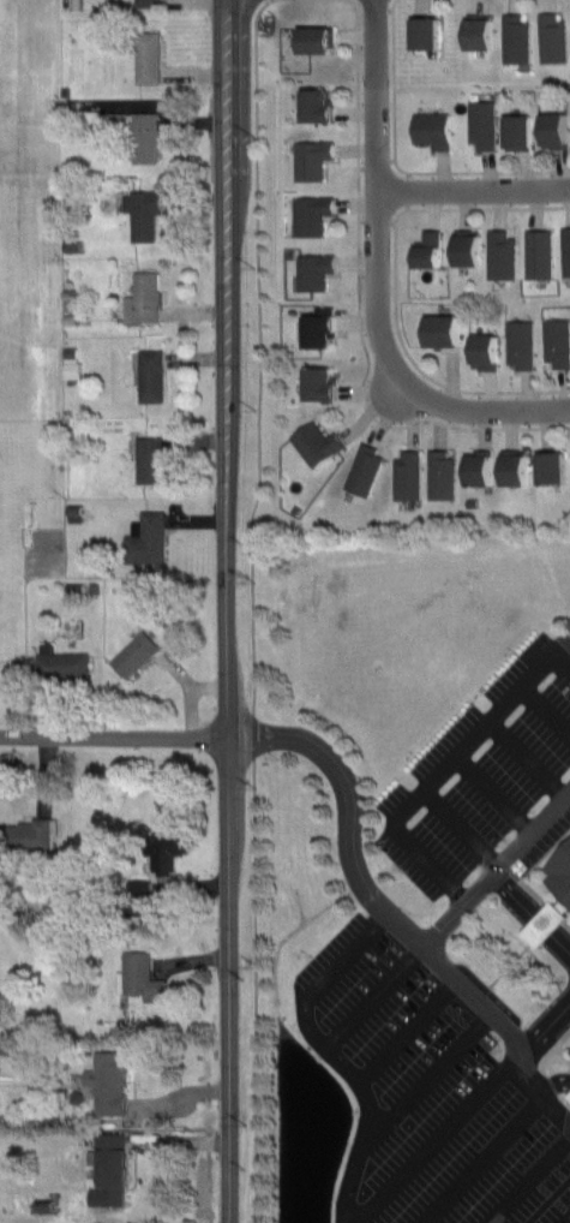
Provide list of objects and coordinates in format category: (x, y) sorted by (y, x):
building: (149, 2)
building: (421, 29)
building: (475, 29)
building: (550, 36)
building: (514, 37)
building: (312, 38)
building: (149, 56)
building: (312, 105)
building: (479, 123)
building: (428, 127)
building: (551, 127)
building: (515, 131)
building: (138, 132)
building: (311, 159)
road: (400, 168)
road: (377, 183)
road: (474, 185)
building: (144, 213)
building: (311, 214)
building: (425, 247)
building: (463, 247)
building: (563, 250)
building: (535, 252)
building: (498, 253)
building: (313, 268)
road: (395, 285)
building: (144, 298)
road: (358, 311)
building: (314, 329)
building: (440, 329)
building: (554, 340)
building: (518, 342)
building: (481, 351)
building: (71, 363)
building: (149, 374)
road: (259, 376)
building: (317, 383)
road: (473, 404)
building: (314, 443)
building: (148, 460)
building: (550, 467)
building: (514, 469)
building: (362, 470)
building: (475, 471)
building: (440, 473)
building: (407, 475)
building: (144, 537)
road: (227, 610)
building: (568, 625)
road: (566, 628)
building: (134, 654)
building: (61, 663)
road: (545, 711)
road: (114, 736)
road: (526, 758)
road: (443, 769)
parking lot: (487, 782)
road: (492, 794)
road: (460, 828)
road: (530, 830)
building: (26, 833)
building: (166, 843)
building: (562, 873)
road: (496, 877)
building: (137, 897)
road: (545, 901)
road: (377, 903)
building: (551, 921)
road: (350, 948)
building: (142, 977)
road: (253, 990)
road: (372, 997)
road: (547, 1021)
road: (408, 1033)
road: (553, 1044)
road: (562, 1052)
road: (432, 1073)
building: (103, 1084)
road: (360, 1092)
parking lot: (430, 1092)
road: (438, 1138)
road: (491, 1150)
building: (109, 1164)
road: (528, 1180)
road: (566, 1219)

